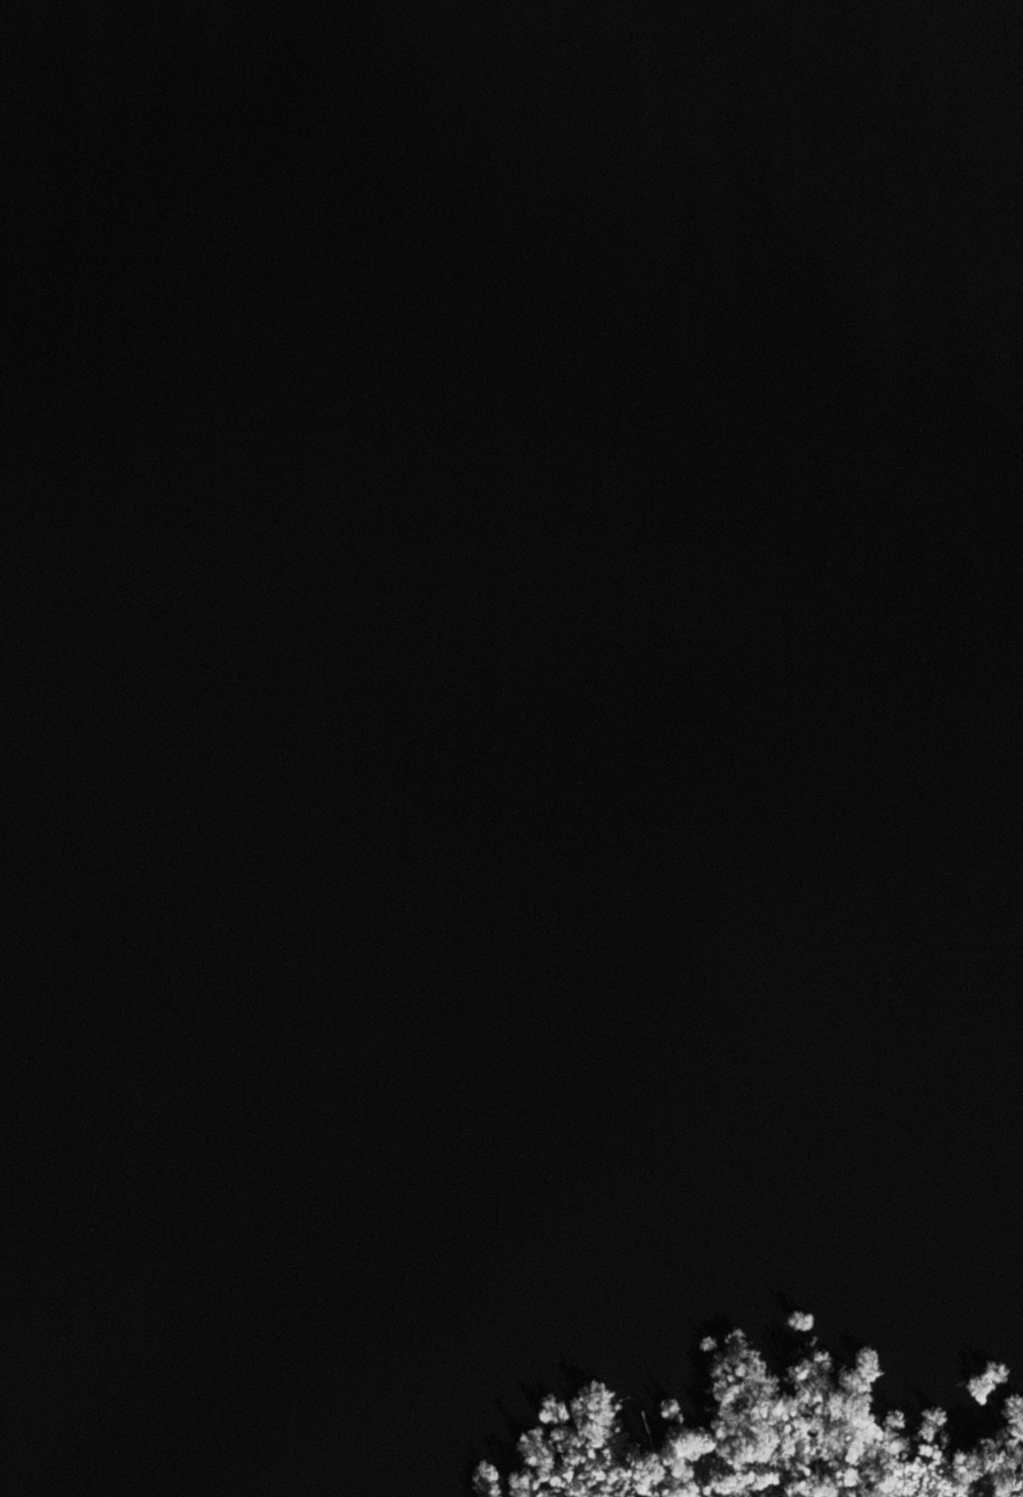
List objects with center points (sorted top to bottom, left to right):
building: (699, 1470)
building: (932, 1478)

